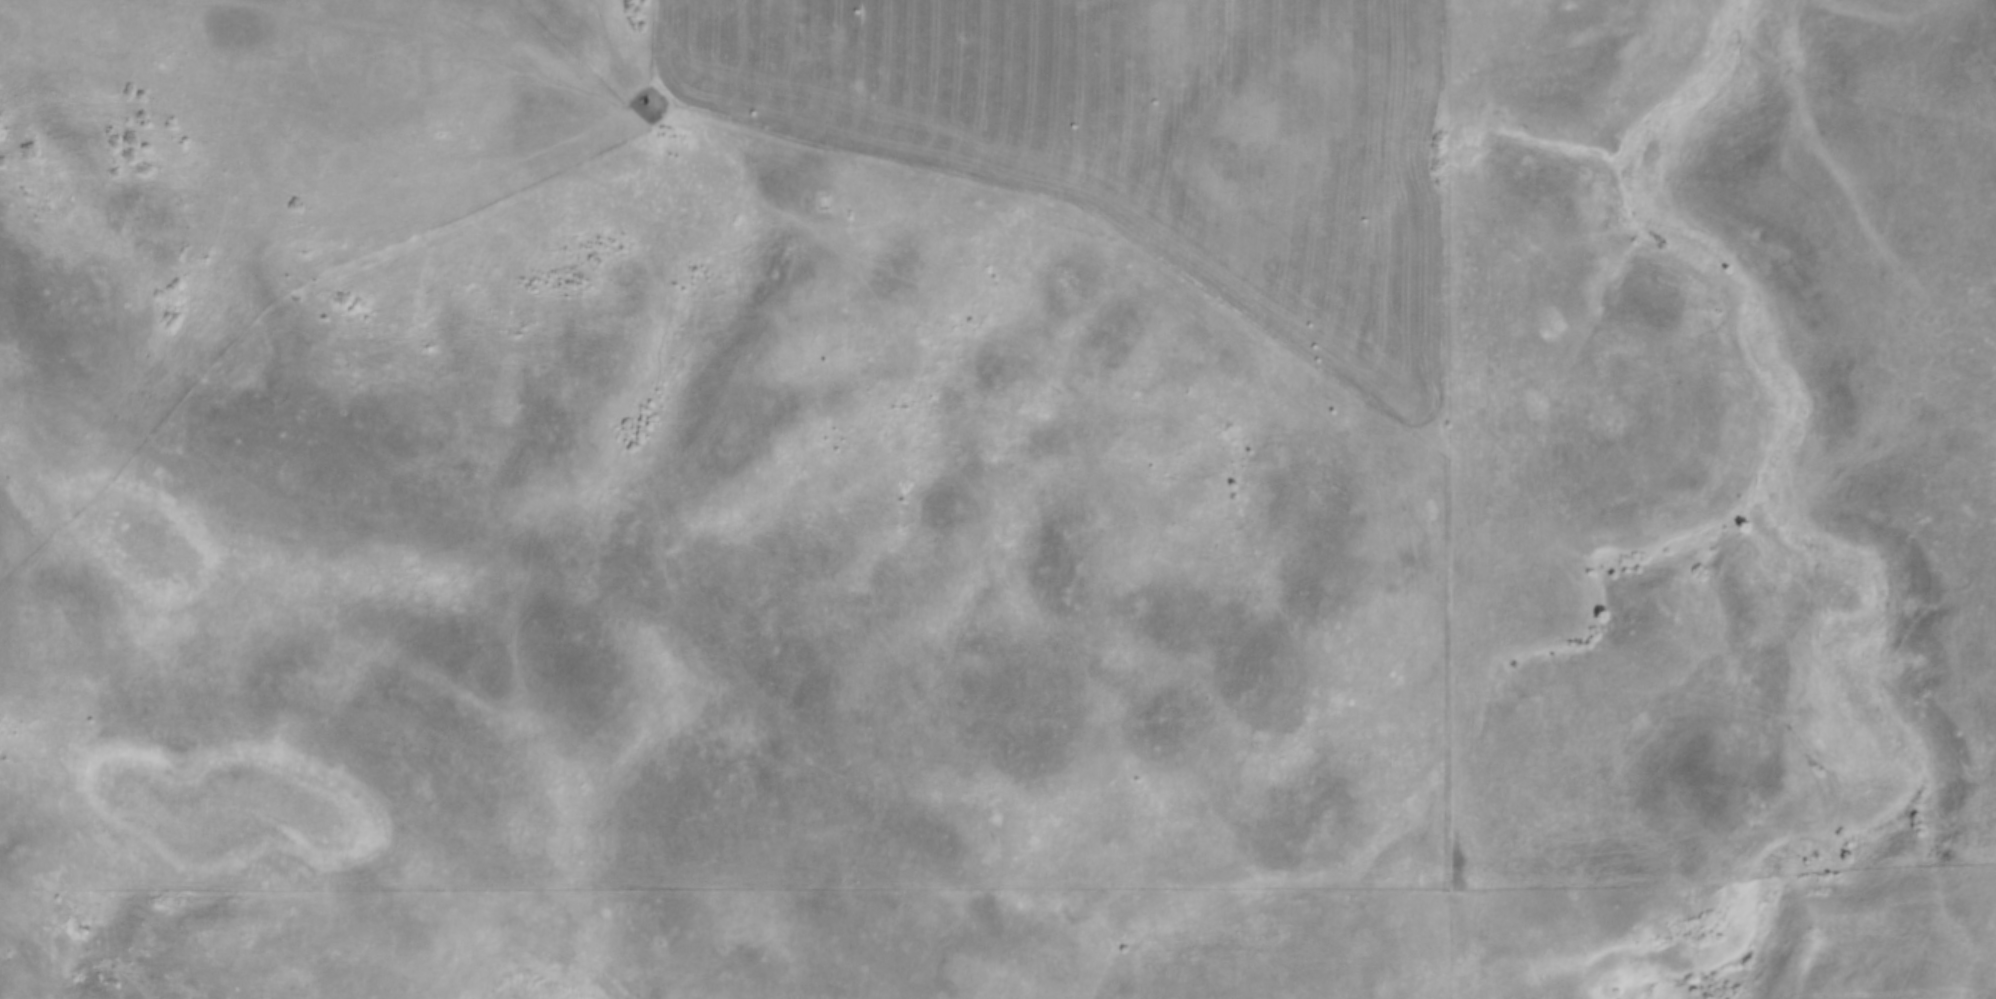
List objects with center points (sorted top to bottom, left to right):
road: (1980, 875)

